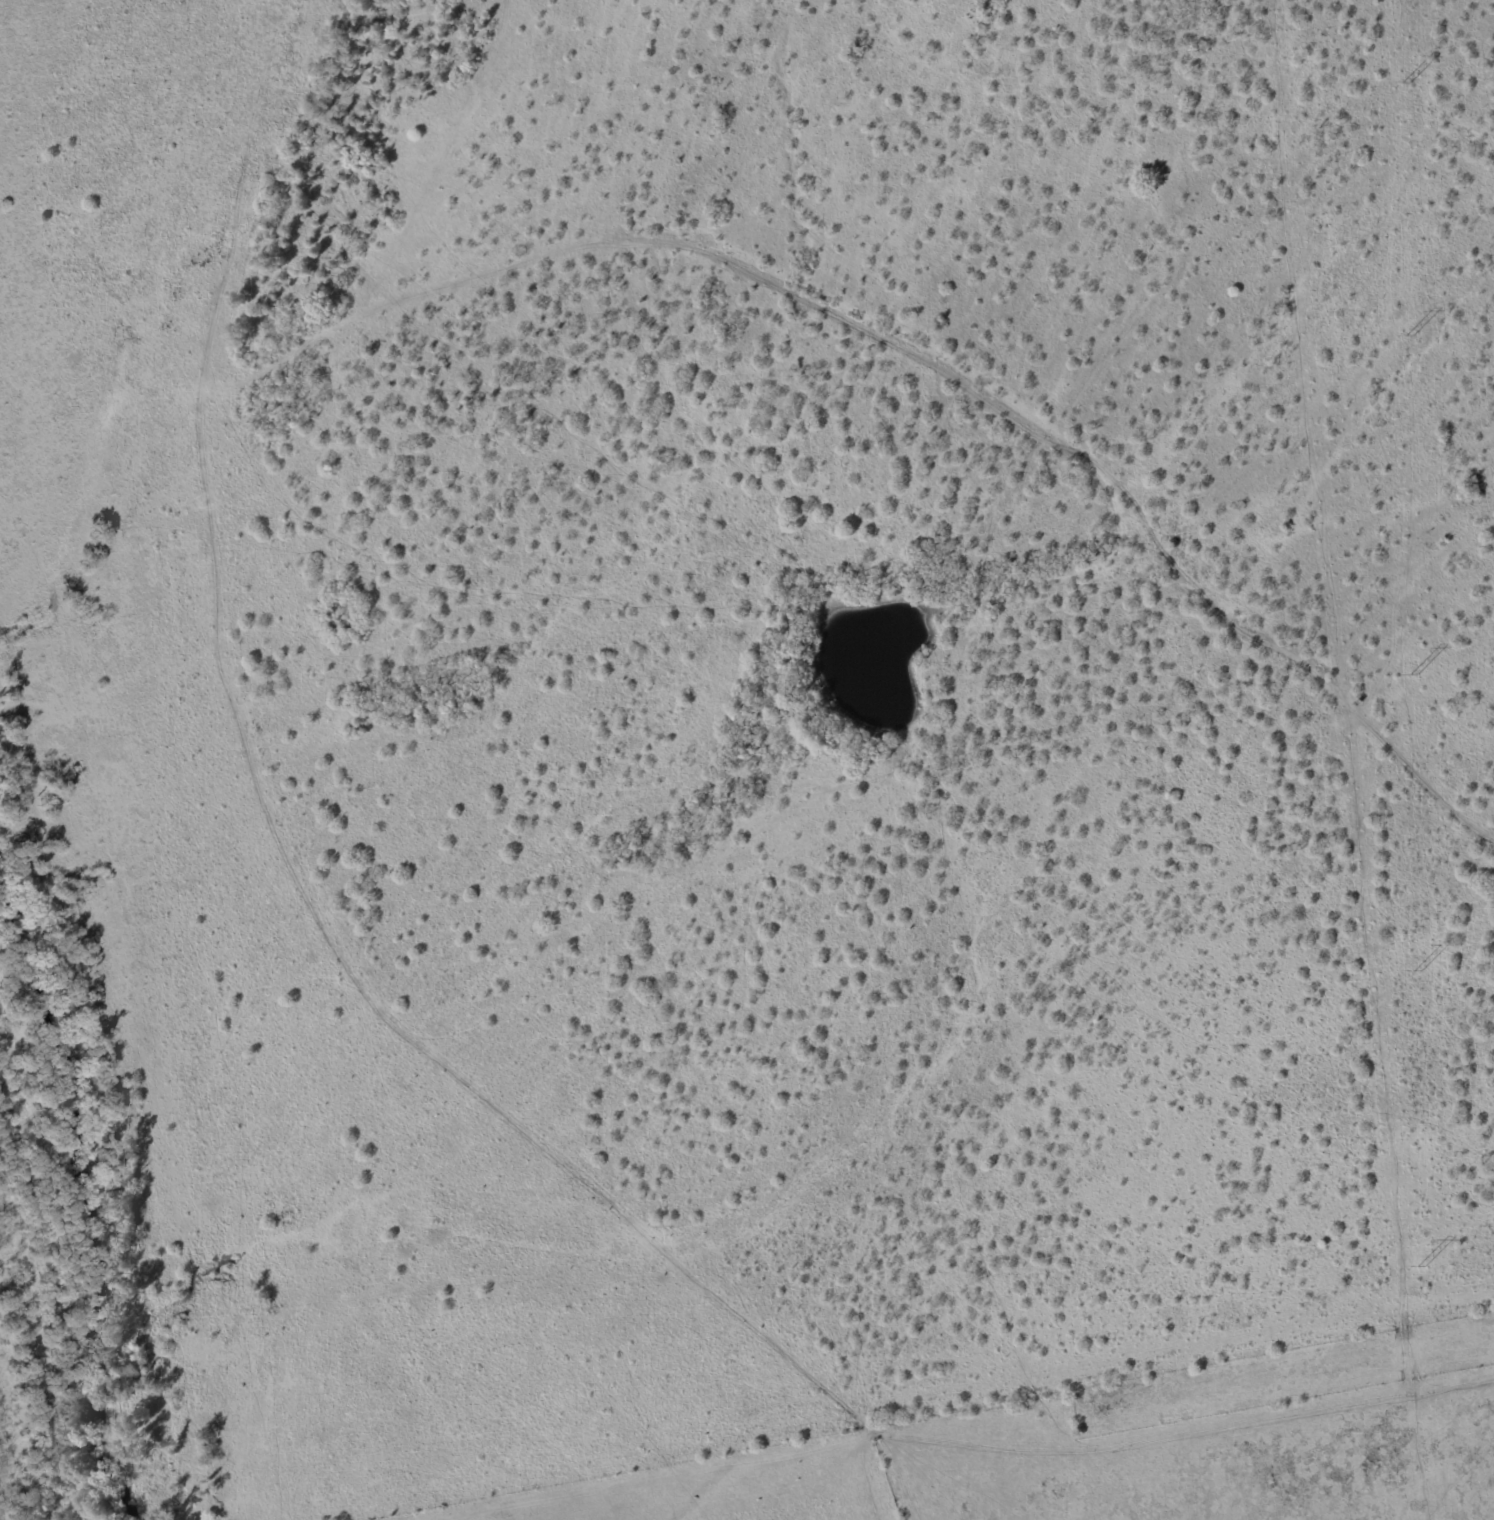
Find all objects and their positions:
power tower: (1406, 82)
power tower: (1409, 335)
power tower: (1411, 675)
power tower: (1416, 970)
power tower: (1419, 1267)

